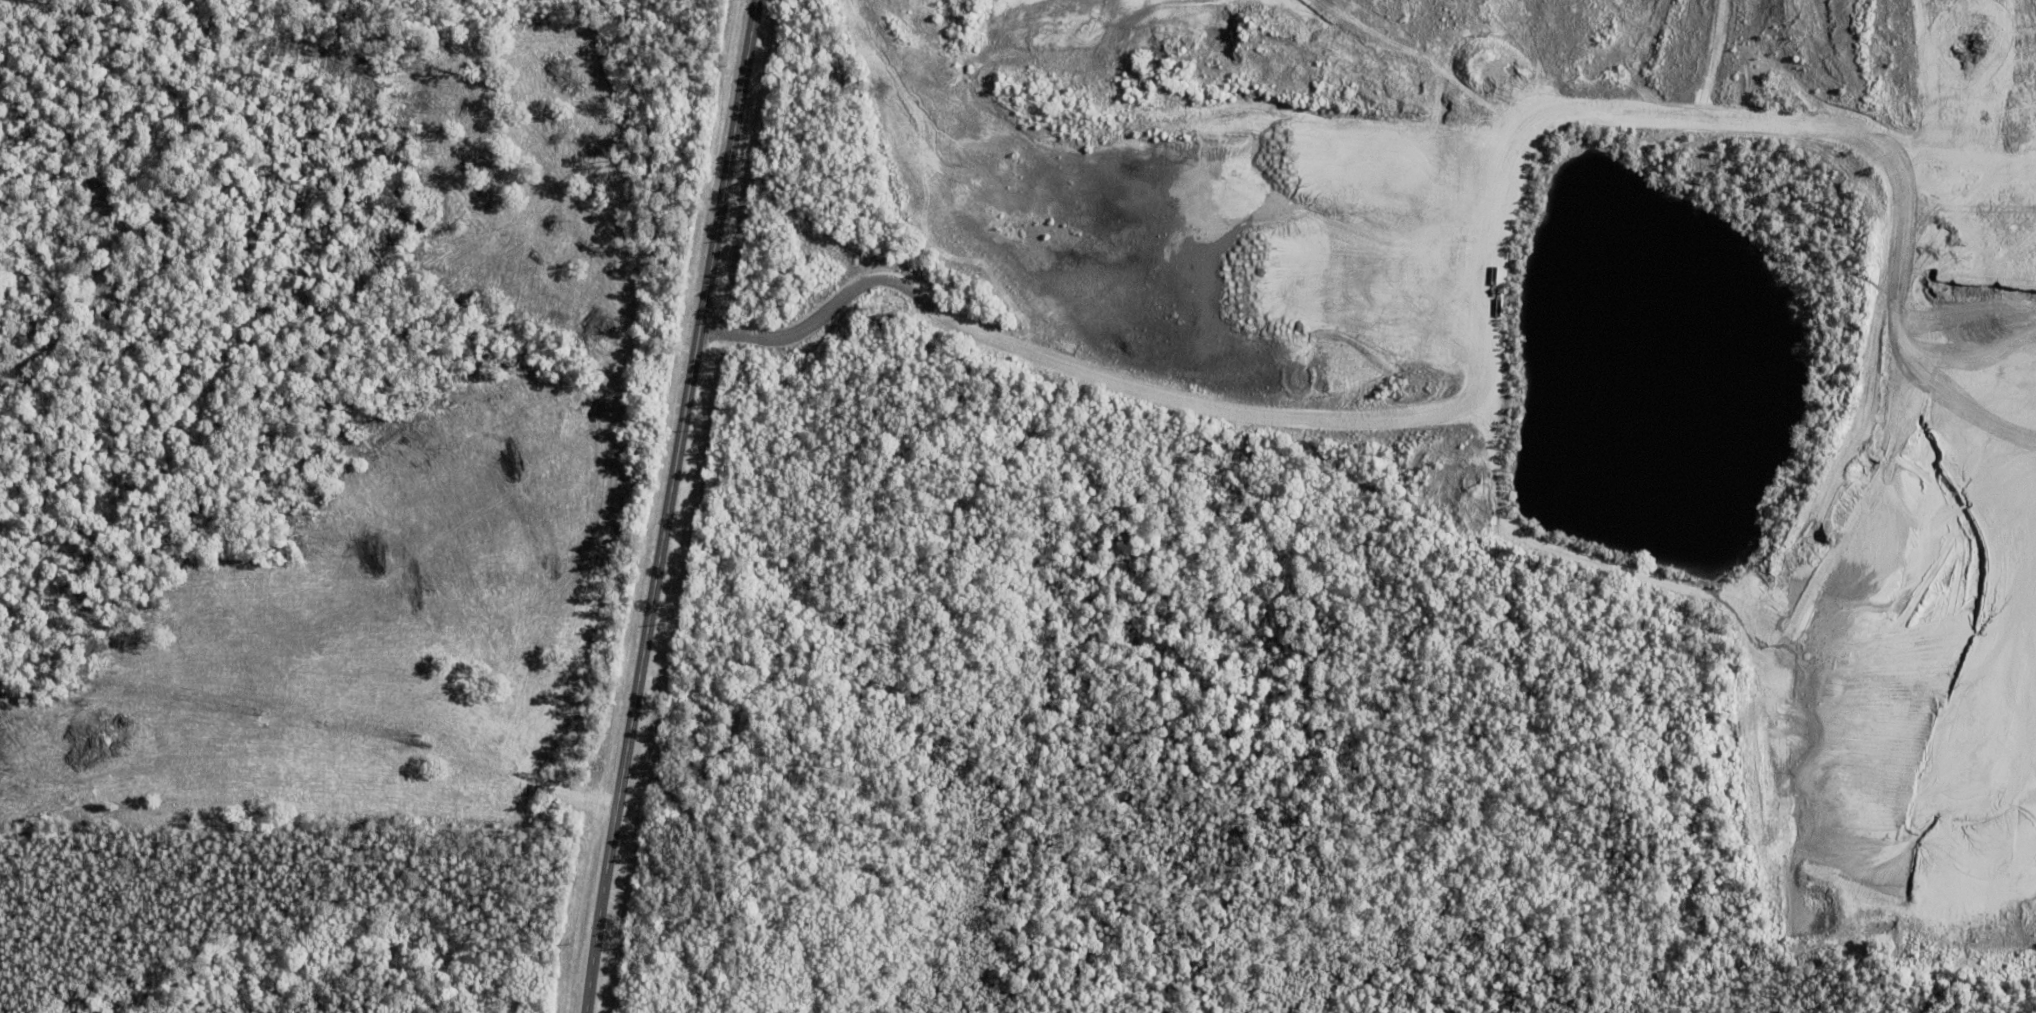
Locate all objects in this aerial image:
road: (667, 505)

